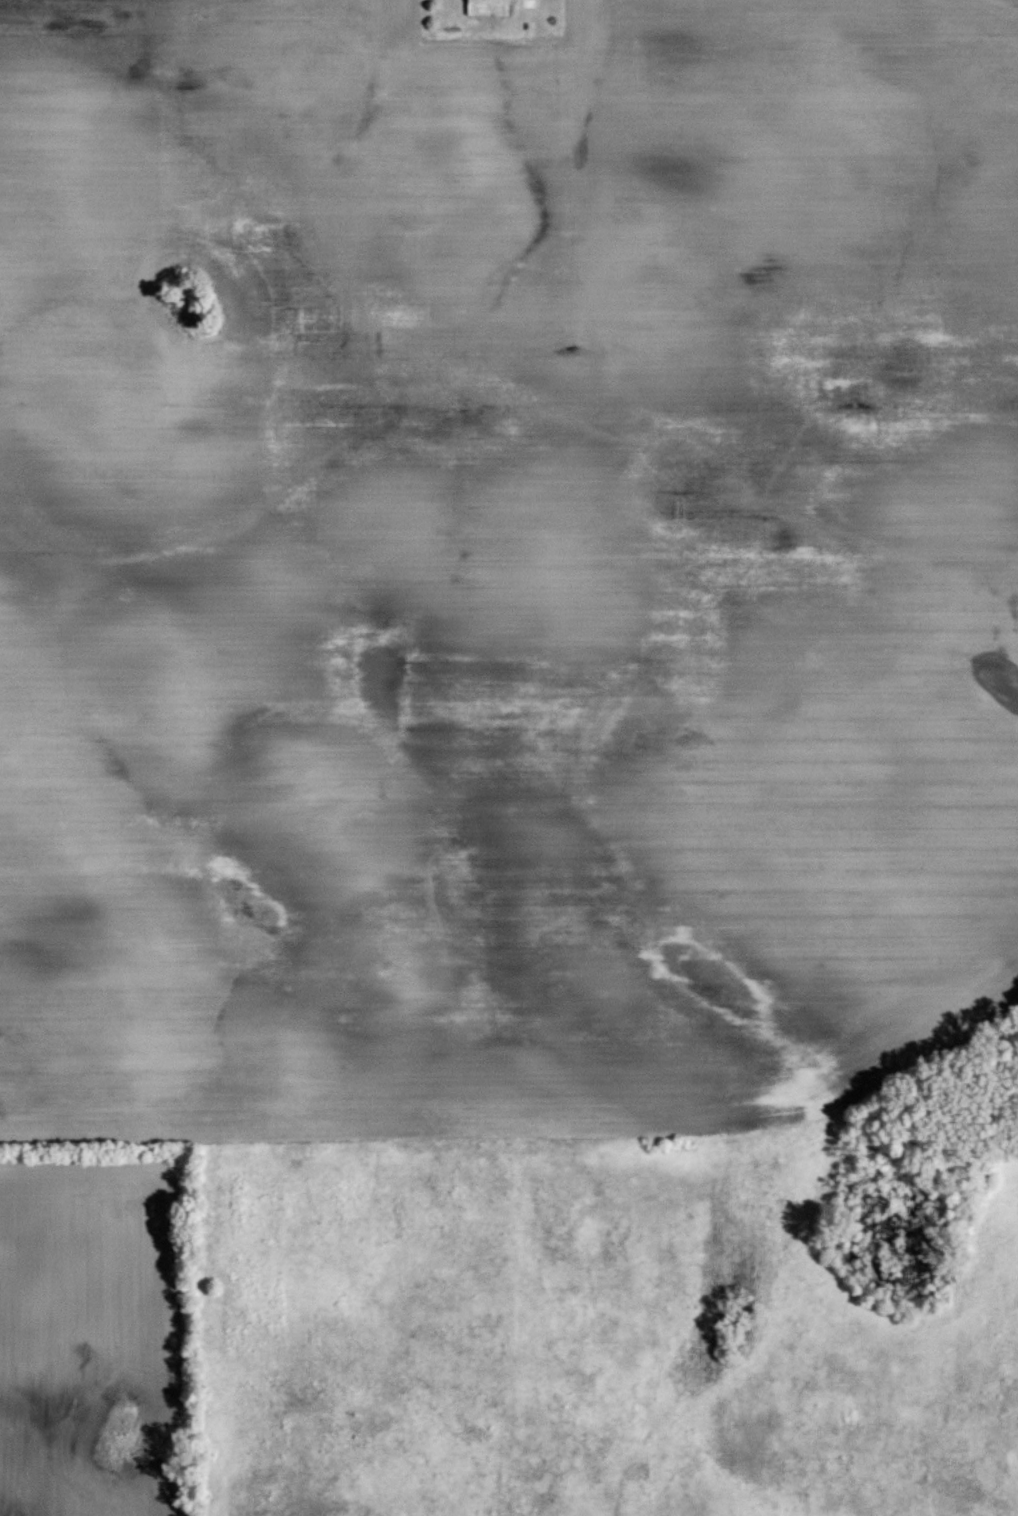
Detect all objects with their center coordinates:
building: (489, 7)

